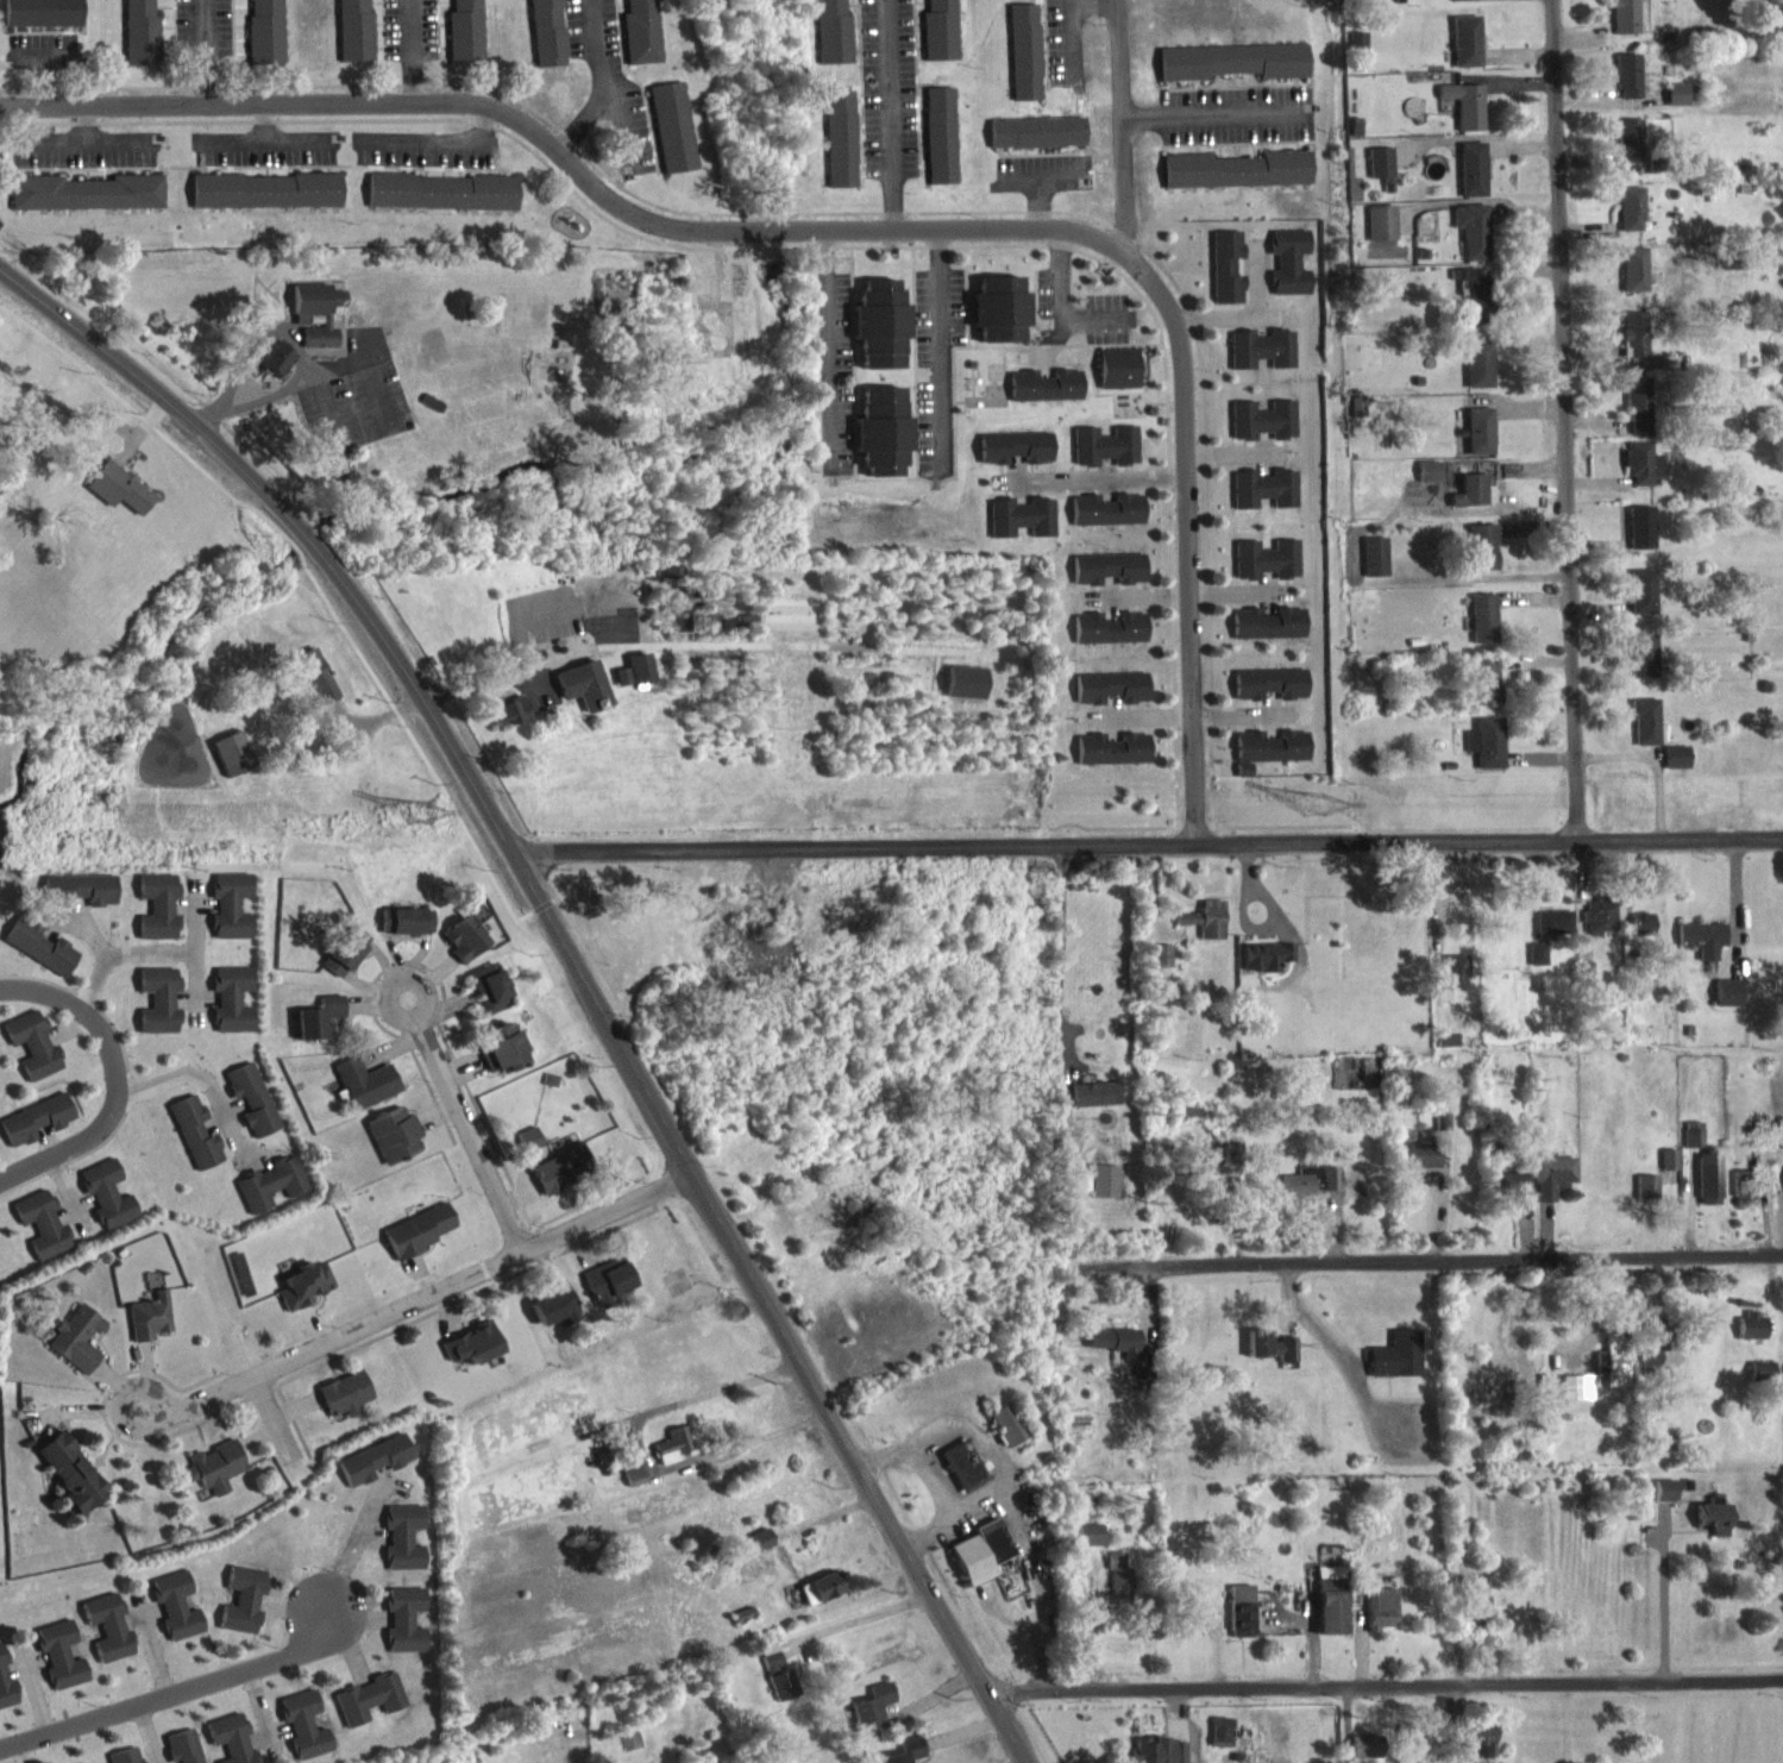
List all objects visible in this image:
road: (1094, 0)
building: (1463, 6)
building: (40, 20)
building: (1622, 23)
building: (1641, 23)
building: (352, 36)
building: (464, 36)
building: (263, 37)
building: (639, 37)
building: (937, 37)
building: (545, 38)
building: (830, 38)
building: (138, 39)
road: (412, 49)
road: (206, 50)
building: (1356, 51)
building: (1464, 52)
building: (1022, 63)
building: (1231, 73)
road: (604, 86)
building: (1626, 87)
building: (1675, 106)
road: (885, 108)
road: (583, 115)
building: (1464, 115)
road: (1216, 119)
road: (1123, 125)
building: (670, 139)
building: (1034, 144)
building: (938, 146)
building: (837, 150)
building: (1628, 151)
building: (1379, 174)
building: (1236, 181)
building: (1470, 181)
building: (263, 202)
building: (440, 202)
building: (84, 203)
road: (853, 215)
building: (1628, 220)
building: (1380, 234)
building: (1470, 241)
building: (1288, 274)
road: (1256, 277)
building: (1224, 278)
building: (1633, 281)
building: (1474, 310)
road: (1226, 315)
building: (997, 320)
building: (325, 324)
road: (822, 333)
building: (878, 335)
road: (937, 339)
building: (1633, 346)
road: (240, 355)
building: (1261, 360)
road: (365, 366)
building: (271, 369)
building: (1477, 375)
building: (1117, 379)
road: (293, 383)
building: (1043, 396)
road: (326, 403)
road: (212, 414)
building: (1638, 418)
road: (1563, 421)
building: (1262, 431)
building: (880, 443)
building: (1478, 443)
building: (1104, 457)
building: (1013, 458)
building: (1640, 475)
road: (1100, 476)
building: (1427, 483)
building: (118, 500)
building: (1264, 500)
building: (1471, 501)
building: (1106, 521)
building: (1019, 528)
building: (1639, 539)
building: (1482, 558)
building: (1375, 567)
building: (1266, 571)
building: (1107, 579)
building: (672, 583)
building: (1640, 602)
building: (686, 609)
building: (1482, 629)
building: (709, 634)
building: (1268, 635)
building: (1109, 639)
building: (1643, 667)
building: (664, 676)
building: (639, 679)
building: (621, 688)
building: (314, 689)
building: (1486, 691)
building: (965, 694)
building: (1269, 695)
building: (583, 696)
building: (1111, 698)
building: (506, 723)
building: (1645, 733)
building: (1486, 754)
building: (1112, 760)
building: (1268, 760)
building: (231, 765)
building: (1675, 768)
power tower: (1312, 789)
power tower: (426, 811)
road: (1153, 857)
building: (76, 902)
building: (155, 917)
building: (228, 917)
building: (1597, 929)
building: (1205, 930)
building: (403, 933)
building: (1552, 933)
building: (1640, 935)
building: (1701, 949)
building: (462, 950)
road: (1056, 952)
building: (37, 958)
road: (576, 961)
building: (343, 962)
building: (1536, 965)
road: (128, 967)
building: (1160, 967)
building: (1267, 967)
building: (1455, 984)
road: (423, 986)
building: (488, 999)
building: (1718, 1003)
building: (156, 1011)
building: (230, 1011)
building: (315, 1028)
building: (1446, 1052)
building: (31, 1056)
building: (501, 1060)
road: (115, 1072)
road: (195, 1072)
building: (362, 1094)
building: (1095, 1105)
building: (250, 1111)
building: (33, 1131)
road: (473, 1131)
building: (193, 1144)
building: (391, 1146)
building: (528, 1150)
building: (1417, 1167)
building: (1220, 1169)
building: (560, 1179)
building: (1552, 1187)
building: (1708, 1191)
building: (1104, 1193)
building: (1310, 1193)
building: (269, 1194)
building: (1507, 1194)
building: (1645, 1198)
building: (1743, 1198)
building: (106, 1205)
building: (40, 1236)
building: (418, 1241)
road: (1385, 1250)
building: (607, 1293)
road: (428, 1294)
building: (302, 1297)
building: (553, 1318)
building: (147, 1329)
building: (1750, 1337)
building: (74, 1349)
building: (1113, 1353)
building: (470, 1355)
building: (1650, 1356)
building: (1269, 1357)
building: (1395, 1367)
building: (1615, 1372)
road: (127, 1384)
building: (1140, 1387)
building: (343, 1406)
road: (272, 1416)
building: (1005, 1436)
building: (673, 1456)
road: (636, 1463)
building: (371, 1472)
building: (960, 1476)
building: (212, 1477)
road: (934, 1483)
building: (68, 1486)
building: (632, 1487)
building: (1663, 1501)
building: (1712, 1530)
building: (1087, 1546)
building: (401, 1549)
building: (1459, 1550)
building: (760, 1551)
road: (1030, 1582)
building: (1117, 1592)
building: (817, 1600)
building: (240, 1611)
building: (172, 1617)
building: (1329, 1618)
building: (1477, 1618)
building: (1379, 1620)
building: (1239, 1623)
building: (402, 1631)
road: (858, 1631)
building: (105, 1639)
building: (56, 1667)
building: (777, 1686)
road: (169, 1690)
road: (1380, 1694)
building: (5, 1699)
building: (366, 1711)
building: (869, 1719)
building: (302, 1733)
building: (1219, 1743)
building: (226, 1744)
building: (1476, 1748)
building: (178, 1752)
building: (1363, 1753)
building: (909, 1756)
building: (1155, 1756)
building: (128, 1761)

